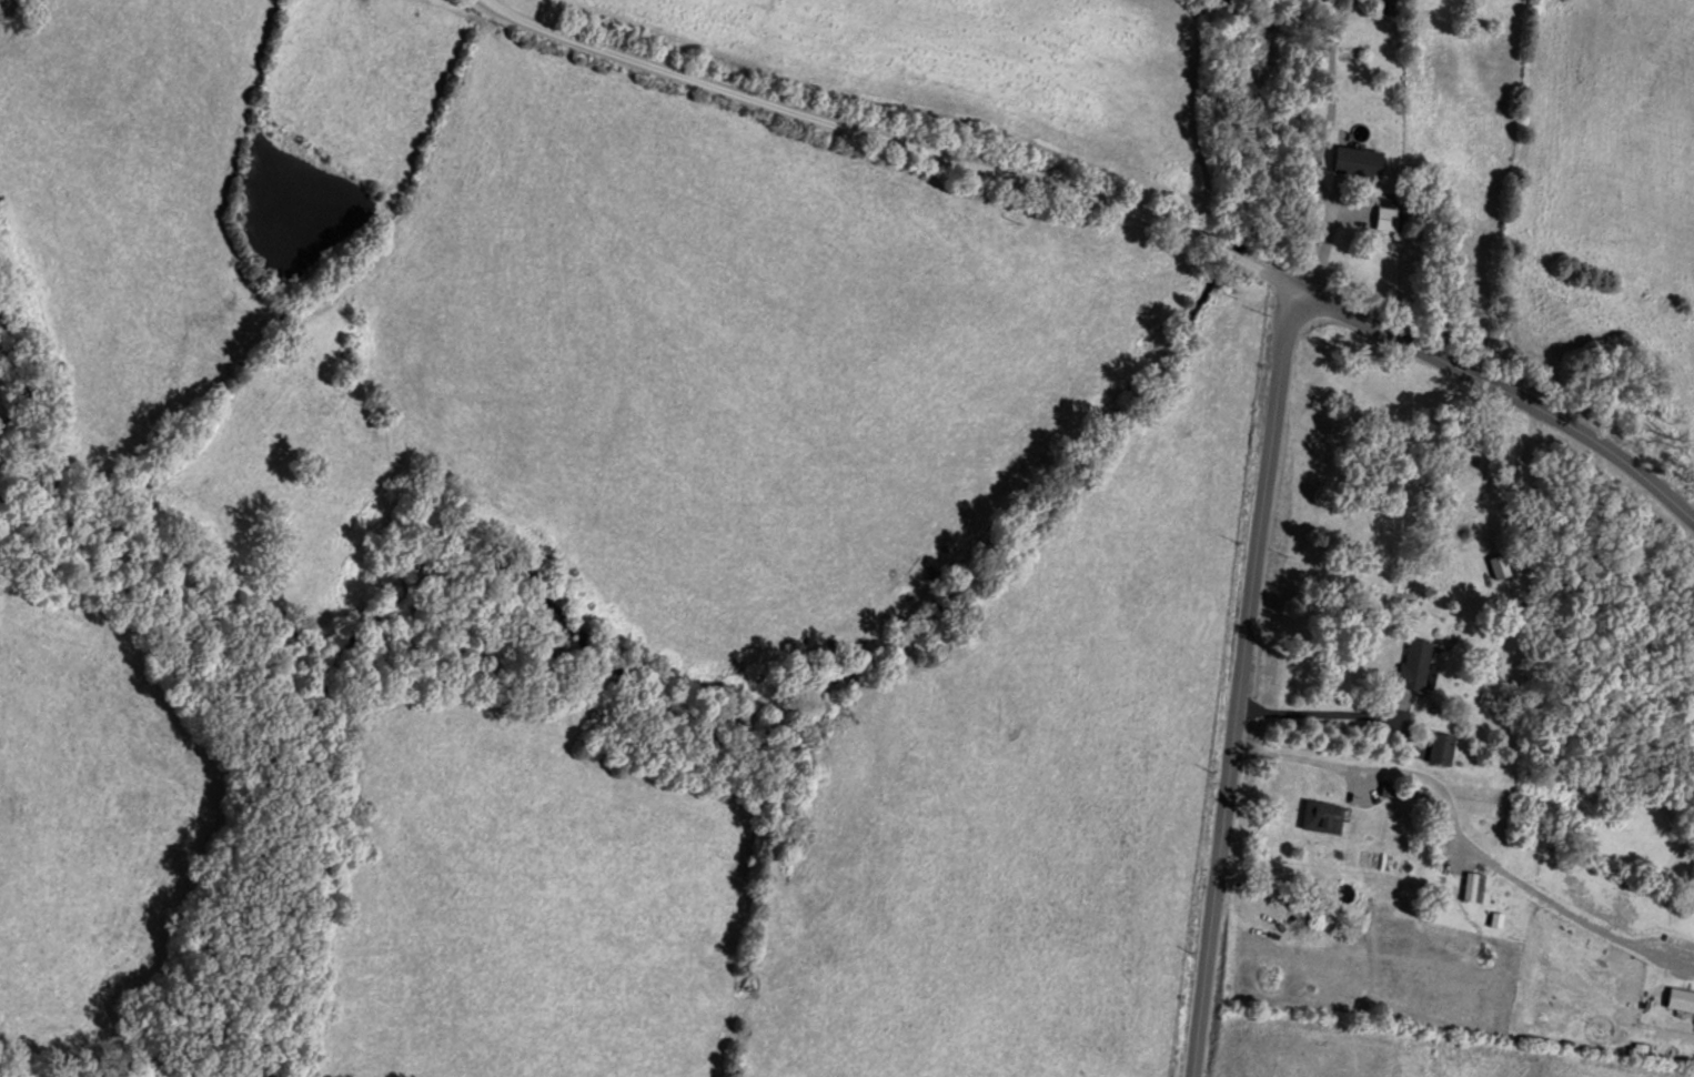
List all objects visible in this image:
building: (1359, 161)
building: (1388, 218)
road: (1105, 273)
building: (1501, 566)
building: (1418, 664)
road: (1226, 718)
building: (1442, 748)
building: (1323, 817)

